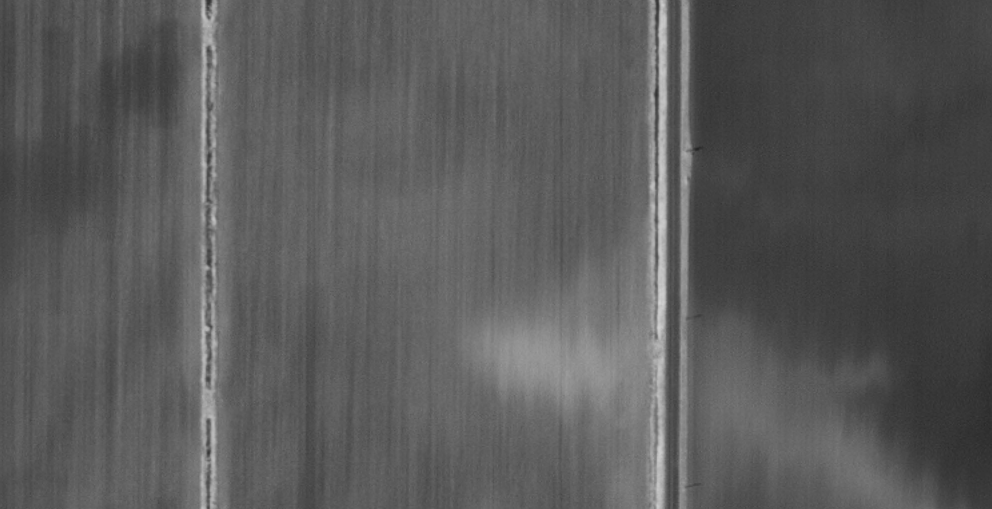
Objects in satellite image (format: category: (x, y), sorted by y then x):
road: (672, 254)

